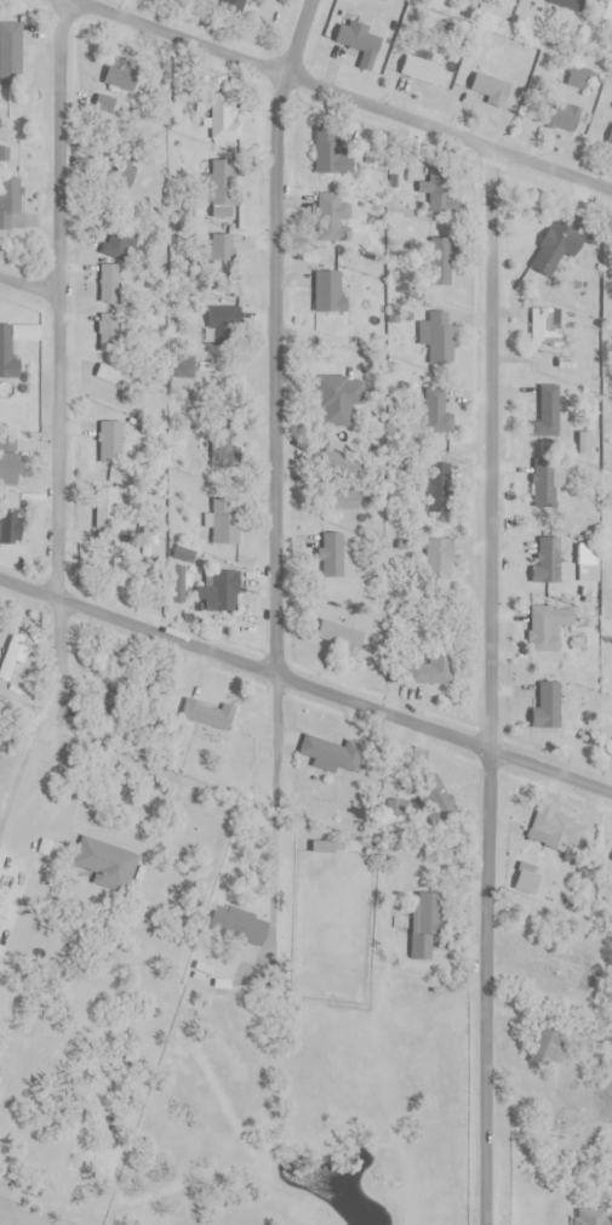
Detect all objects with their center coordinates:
building: (524, 0)
building: (567, 5)
building: (604, 12)
building: (356, 44)
building: (10, 53)
building: (424, 72)
building: (580, 79)
building: (490, 90)
building: (113, 92)
road: (336, 97)
building: (223, 115)
building: (561, 115)
building: (330, 153)
building: (119, 173)
building: (222, 184)
building: (440, 201)
building: (11, 204)
building: (332, 210)
building: (116, 240)
building: (555, 251)
building: (219, 252)
building: (441, 262)
road: (28, 283)
building: (110, 284)
building: (321, 290)
building: (540, 330)
building: (111, 335)
building: (440, 340)
building: (7, 351)
road: (56, 358)
building: (184, 366)
building: (114, 386)
building: (334, 401)
building: (435, 410)
building: (548, 415)
building: (110, 443)
building: (218, 443)
building: (8, 462)
building: (338, 465)
road: (274, 478)
building: (434, 483)
building: (544, 484)
building: (344, 500)
building: (11, 519)
building: (332, 555)
building: (437, 562)
building: (547, 563)
building: (587, 564)
building: (120, 570)
building: (219, 592)
building: (547, 627)
building: (339, 638)
building: (10, 657)
building: (434, 670)
road: (305, 686)
road: (488, 689)
building: (547, 708)
building: (210, 716)
building: (331, 753)
building: (1, 754)
building: (436, 799)
building: (555, 826)
building: (104, 862)
building: (534, 884)
building: (5, 912)
building: (238, 927)
building: (424, 928)
building: (556, 963)
building: (549, 1047)
building: (594, 1217)

